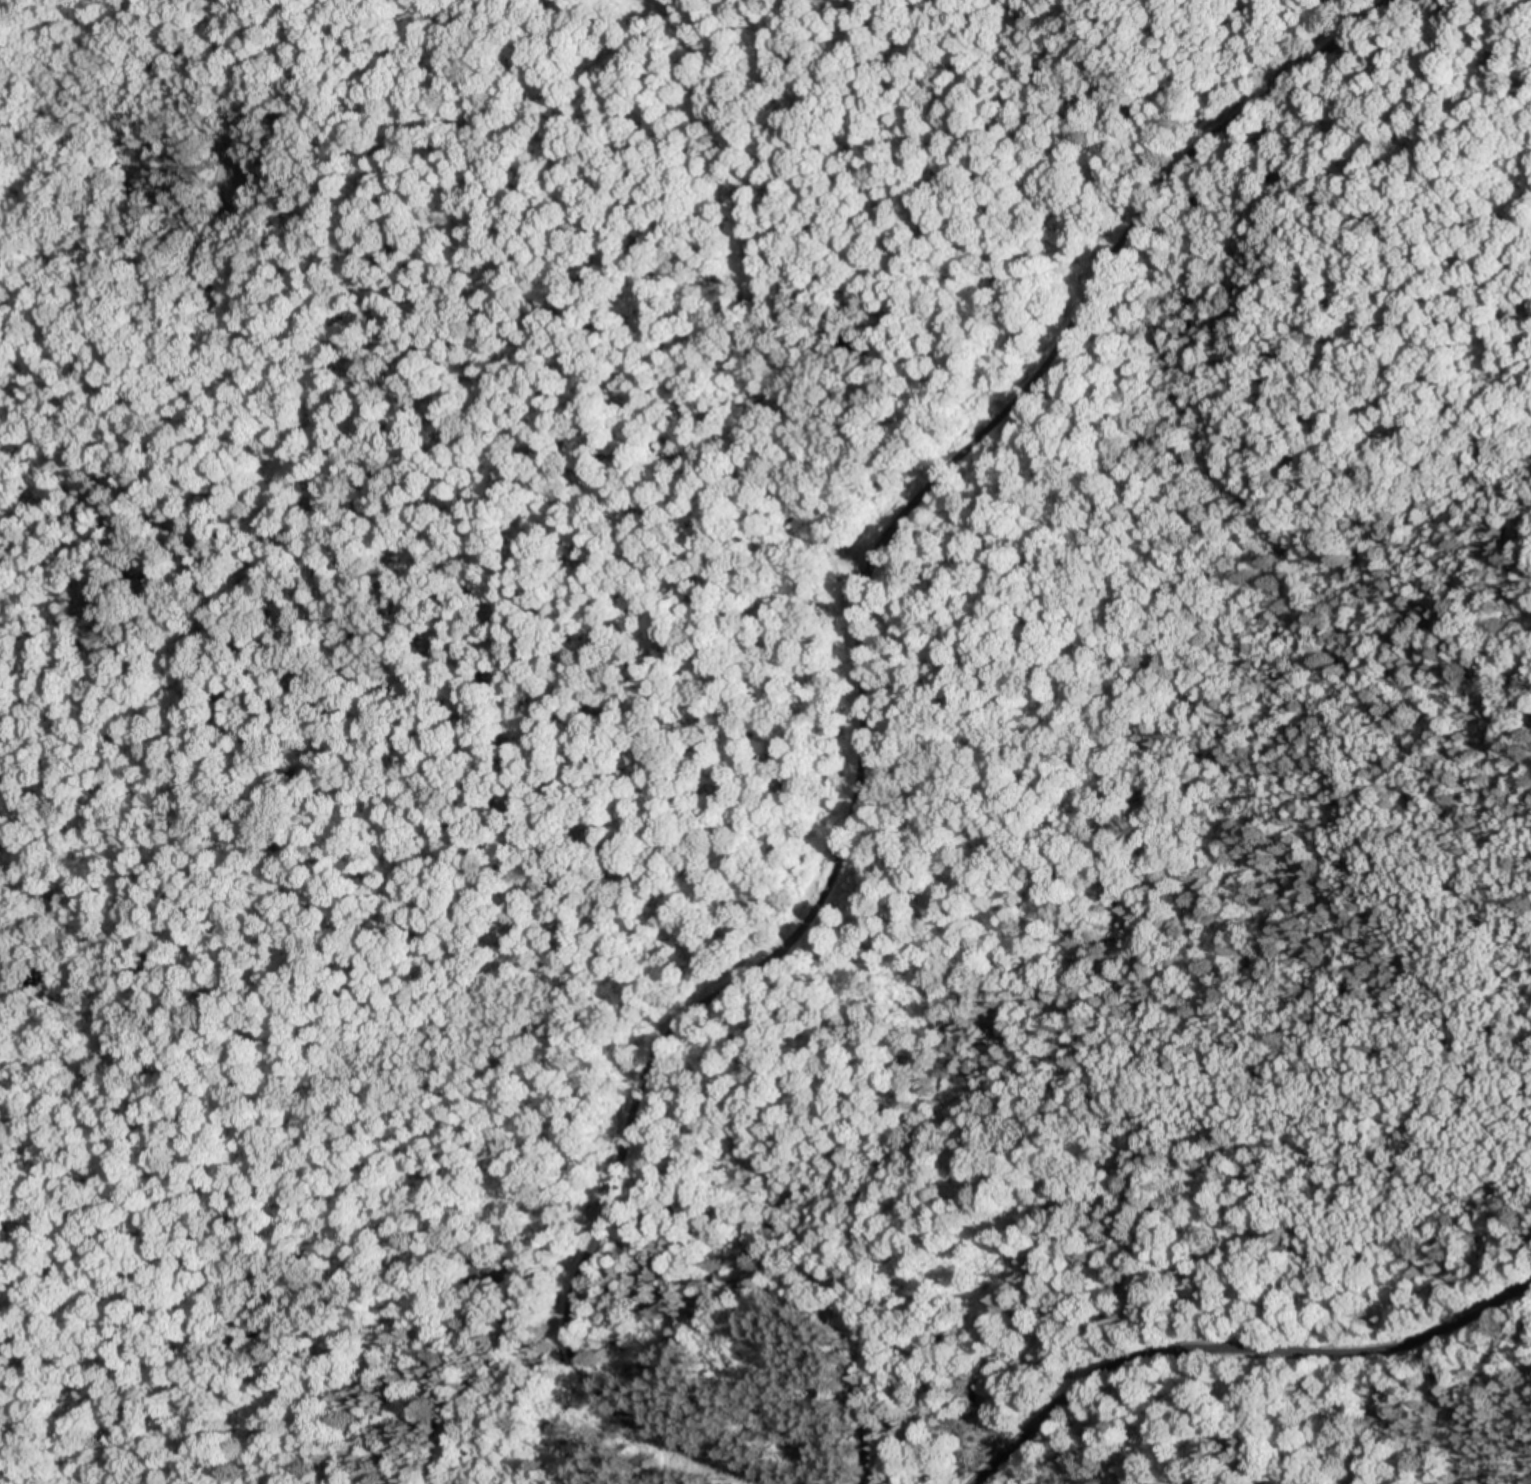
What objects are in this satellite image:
road: (1237, 1355)

